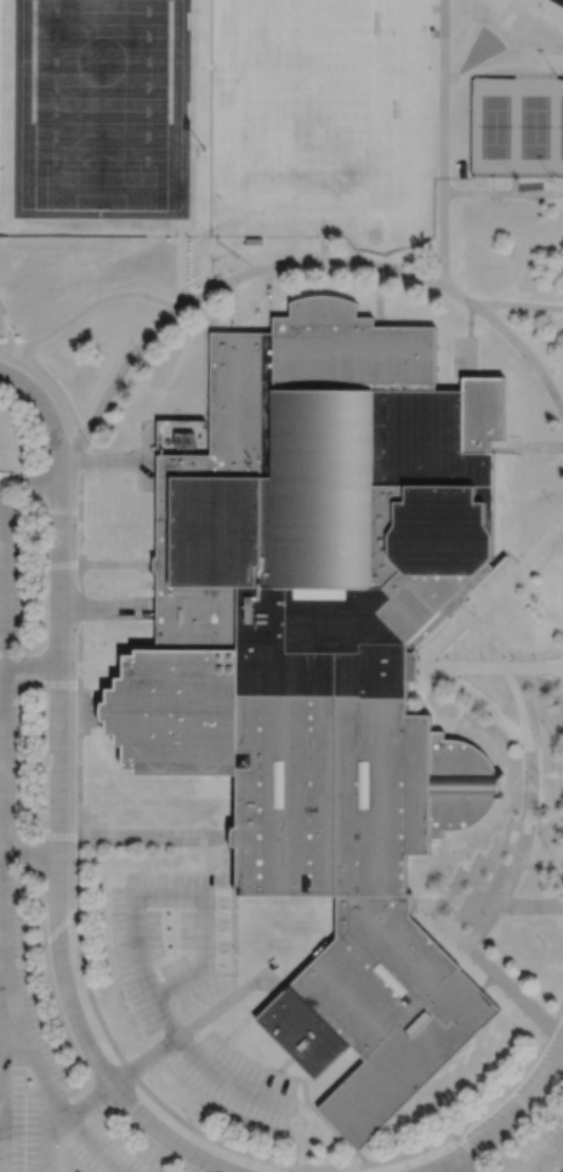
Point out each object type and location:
park: (357, 19)
park: (480, 46)
road: (445, 53)
road: (494, 64)
park: (99, 107)
park: (341, 126)
park: (517, 129)
road: (445, 143)
road: (504, 193)
road: (444, 232)
road: (325, 243)
road: (232, 251)
road: (325, 261)
road: (265, 268)
street lamp: (324, 268)
road: (413, 274)
street lamp: (403, 277)
street lamp: (239, 285)
road: (217, 286)
road: (269, 289)
road: (459, 294)
road: (381, 295)
road: (93, 301)
road: (518, 306)
road: (7, 323)
road: (473, 340)
road: (4, 347)
road: (13, 349)
road: (525, 351)
street lamp: (140, 353)
road: (123, 368)
street lamp: (530, 368)
street lamp: (56, 376)
road: (59, 388)
road: (50, 414)
street lamp: (89, 443)
road: (525, 445)
road: (107, 463)
road: (33, 482)
road: (80, 502)
street lamp: (552, 502)
street lamp: (85, 537)
road: (61, 545)
road: (116, 564)
road: (53, 565)
road: (489, 570)
road: (80, 586)
road: (490, 599)
road: (451, 602)
road: (106, 608)
road: (59, 636)
street lamp: (84, 642)
road: (80, 647)
building: (323, 654)
road: (33, 665)
road: (490, 666)
street lamp: (84, 672)
road: (558, 676)
road: (42, 687)
road: (80, 699)
road: (86, 711)
street lamp: (30, 712)
street lamp: (83, 736)
road: (58, 758)
street lamp: (83, 759)
parking lot: (13, 763)
road: (80, 773)
road: (531, 784)
street lamp: (84, 800)
road: (5, 806)
road: (42, 835)
road: (153, 835)
street lamp: (84, 846)
street lamp: (113, 846)
street lamp: (147, 846)
street lamp: (180, 846)
road: (32, 853)
street lamp: (170, 867)
road: (79, 871)
street lamp: (84, 876)
road: (557, 892)
road: (455, 905)
road: (531, 905)
street lamp: (240, 909)
street lamp: (108, 923)
road: (438, 926)
road: (55, 934)
building: (291, 952)
street lamp: (239, 955)
street lamp: (89, 969)
road: (62, 973)
road: (488, 983)
road: (510, 988)
street lamp: (126, 1002)
street lamp: (203, 1003)
road: (291, 1020)
road: (315, 1030)
street lamp: (234, 1046)
street lamp: (126, 1054)
street lamp: (267, 1063)
road: (558, 1068)
road: (138, 1080)
road: (516, 1082)
road: (90, 1099)
road: (301, 1104)
road: (138, 1111)
street lamp: (192, 1120)
road: (504, 1121)
street lamp: (306, 1123)
street lamp: (530, 1137)
parking lot: (544, 1149)
parking lot: (104, 1150)
road: (551, 1154)
road: (106, 1155)
road: (155, 1155)
road: (201, 1156)
road: (364, 1156)
road: (480, 1157)
road: (385, 1161)
road: (464, 1164)
road: (540, 1170)
road: (425, 1171)
road: (426, 1171)

